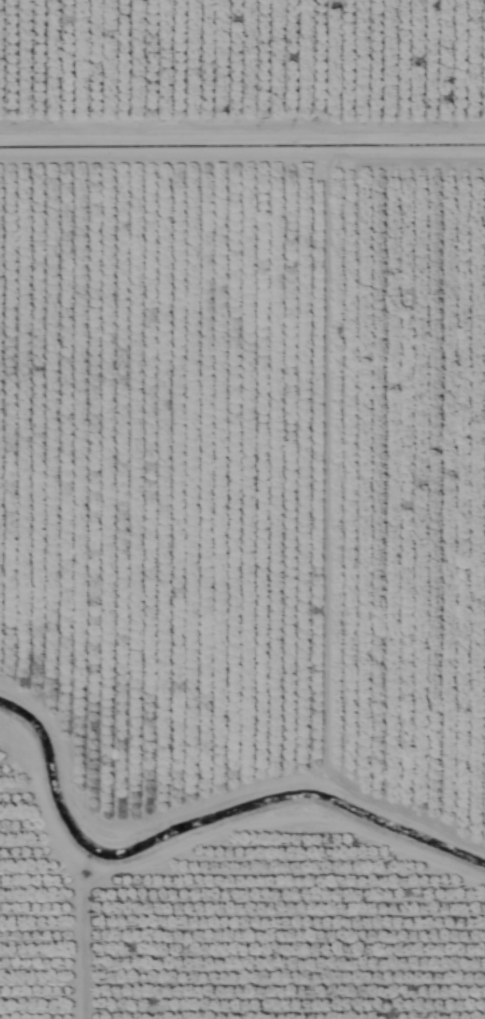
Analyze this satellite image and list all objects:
crop: (242, 509)
road: (224, 870)

